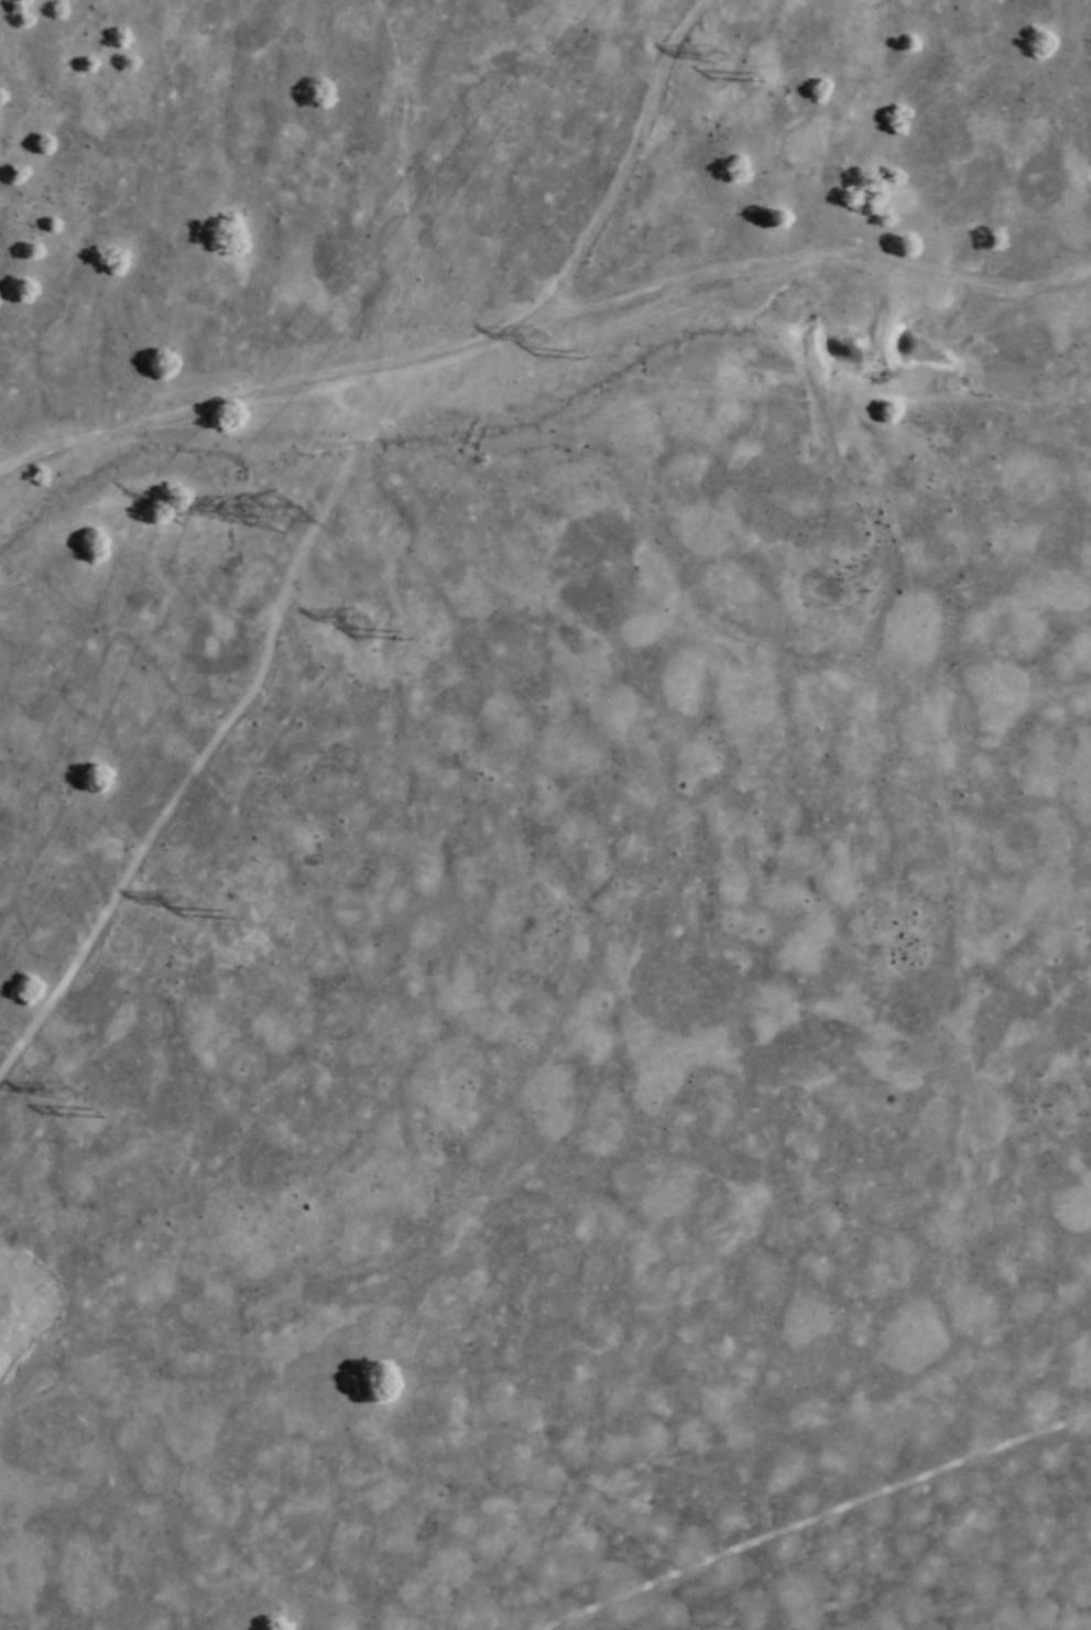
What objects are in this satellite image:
power tower: (703, 53)
power tower: (745, 75)
road: (629, 164)
road: (810, 250)
power tower: (530, 330)
power tower: (568, 350)
road: (264, 389)
power tower: (251, 500)
power tower: (351, 612)
power tower: (396, 632)
power tower: (170, 896)
power tower: (217, 912)
power tower: (56, 1086)
power tower: (89, 1109)
road: (808, 1518)

